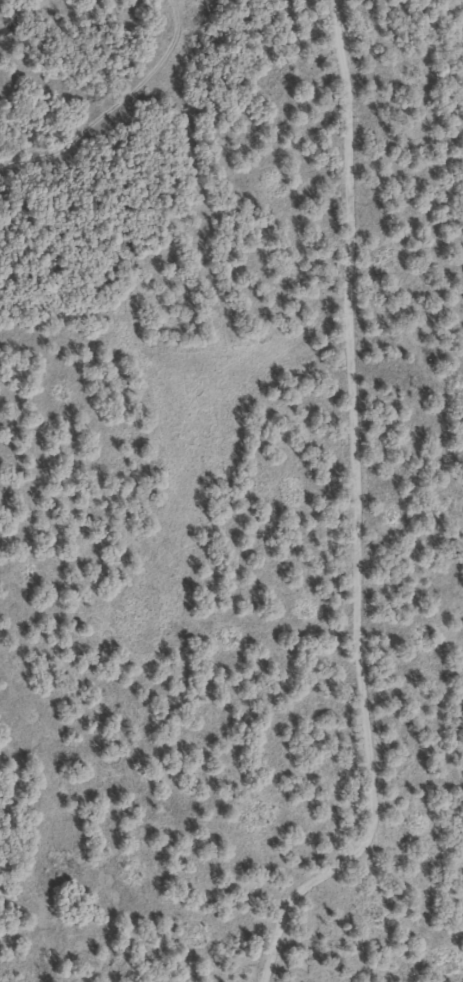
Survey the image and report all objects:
road: (357, 514)

